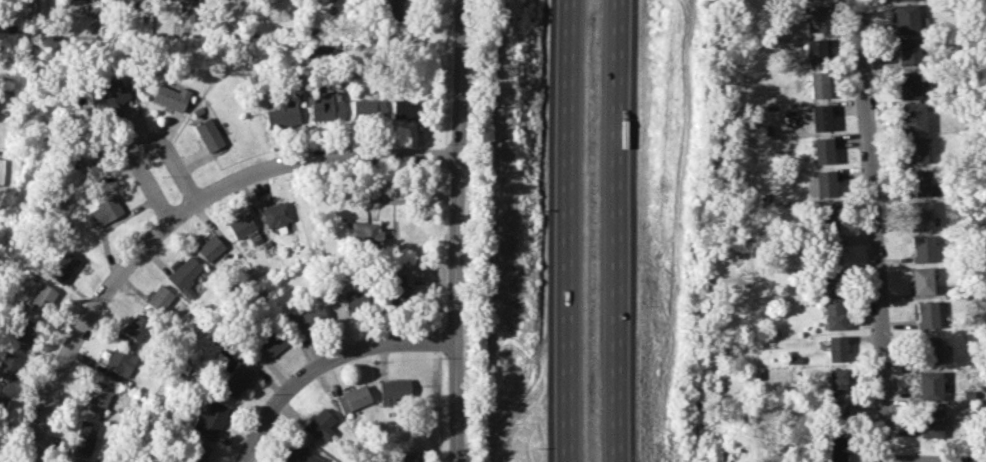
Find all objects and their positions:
building: (179, 0)
building: (274, 0)
building: (900, 0)
building: (131, 2)
building: (391, 10)
building: (812, 18)
building: (905, 18)
building: (815, 51)
building: (908, 51)
building: (818, 84)
building: (908, 85)
building: (113, 97)
building: (170, 97)
building: (324, 106)
building: (368, 108)
building: (404, 109)
building: (282, 115)
building: (817, 116)
building: (912, 117)
building: (208, 134)
road: (142, 143)
building: (822, 150)
building: (915, 150)
building: (89, 168)
building: (917, 182)
building: (822, 184)
building: (105, 210)
building: (276, 214)
building: (827, 216)
building: (920, 216)
road: (179, 217)
road: (456, 230)
road: (566, 231)
road: (616, 231)
road: (871, 231)
building: (364, 234)
building: (210, 248)
building: (922, 248)
building: (830, 249)
building: (63, 268)
building: (183, 275)
building: (922, 280)
building: (832, 282)
building: (401, 287)
building: (159, 298)
building: (42, 300)
building: (354, 300)
building: (926, 314)
building: (834, 316)
building: (305, 318)
building: (137, 327)
building: (24, 331)
building: (270, 345)
building: (836, 348)
building: (929, 350)
building: (120, 362)
road: (325, 363)
building: (10, 365)
building: (235, 380)
building: (837, 381)
building: (930, 385)
building: (394, 392)
building: (99, 397)
building: (353, 398)
building: (837, 410)
building: (210, 419)
building: (931, 423)
building: (318, 424)
building: (85, 437)
building: (197, 452)
building: (299, 455)
building: (68, 461)

